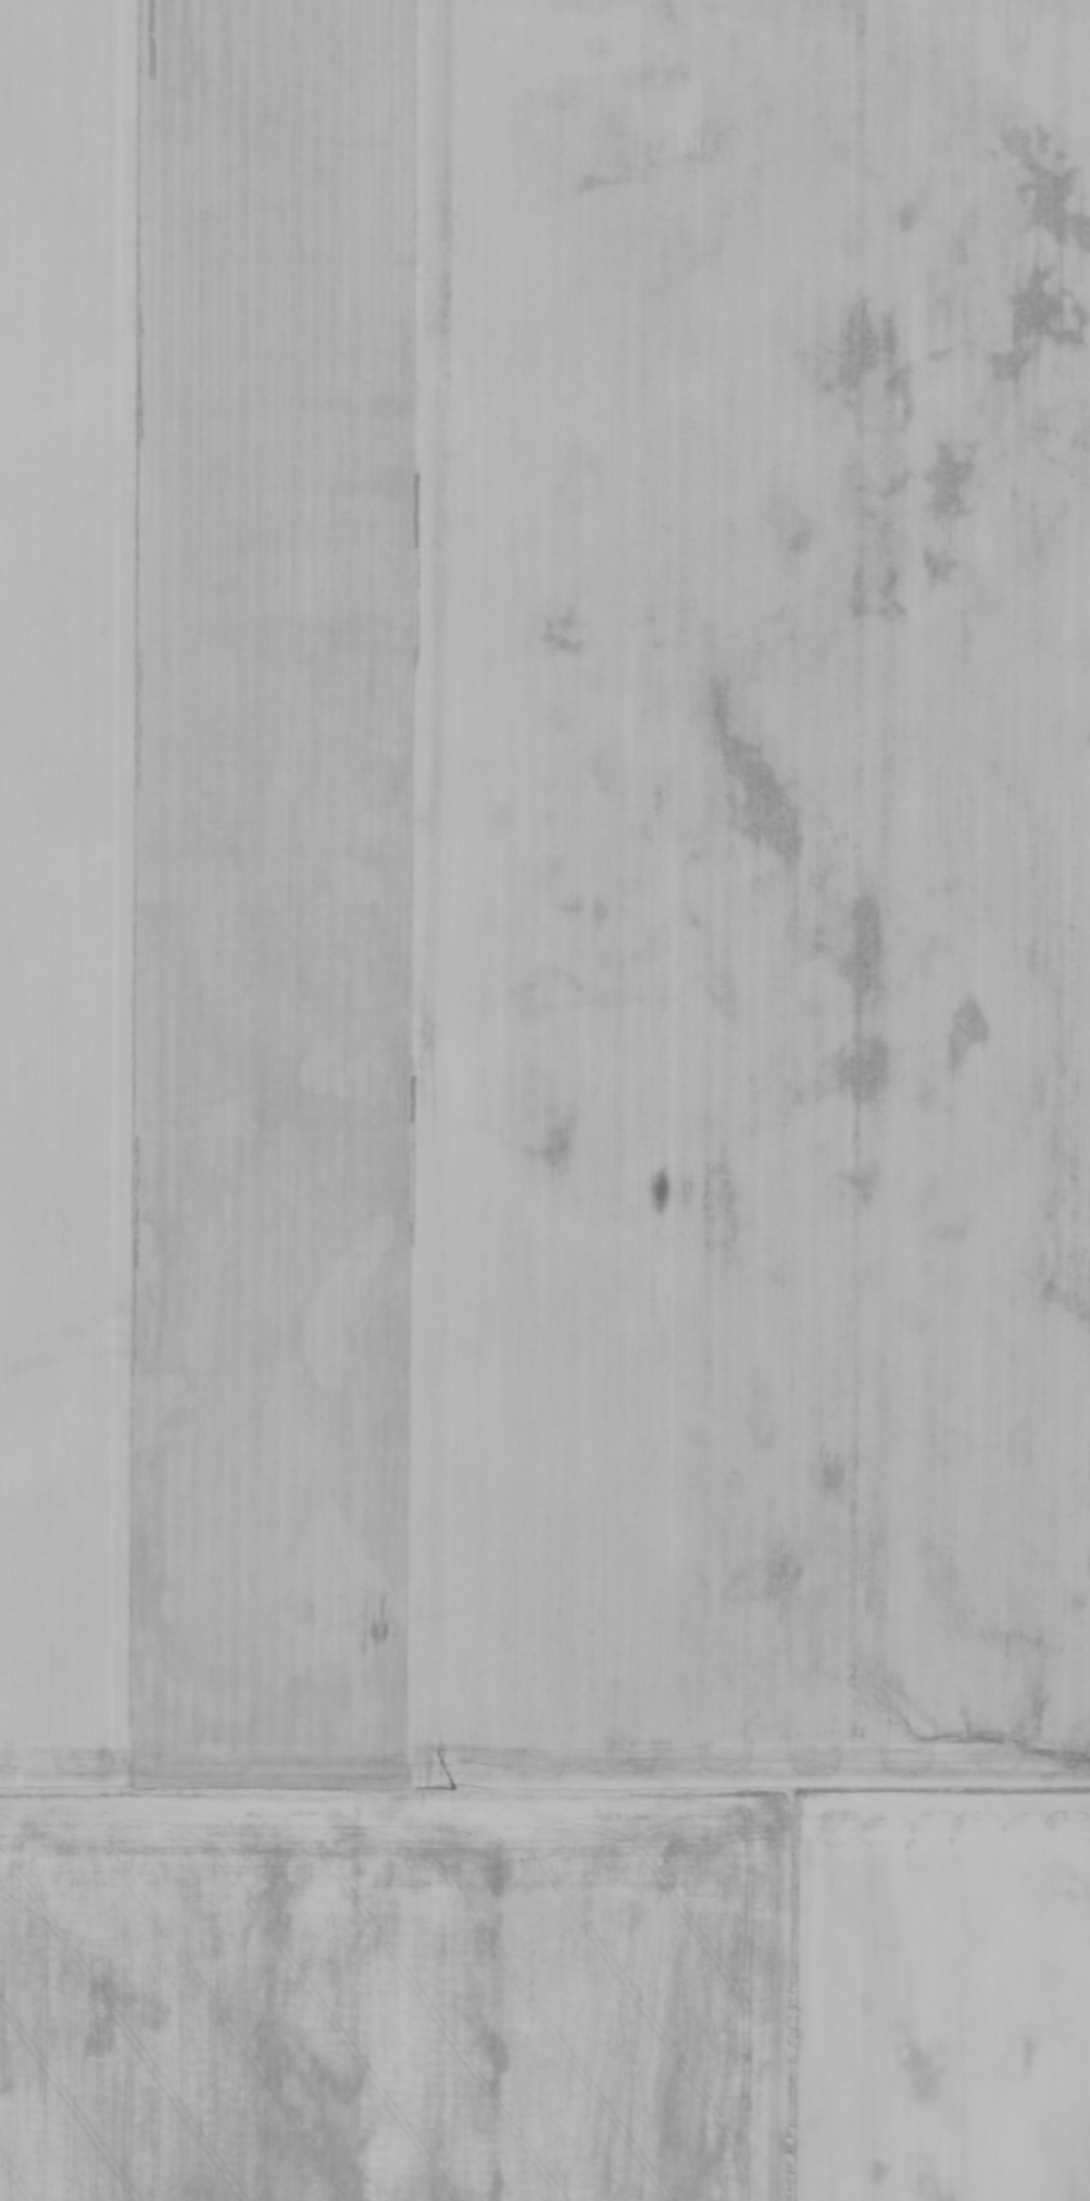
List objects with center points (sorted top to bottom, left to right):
power tower: (452, 1788)

